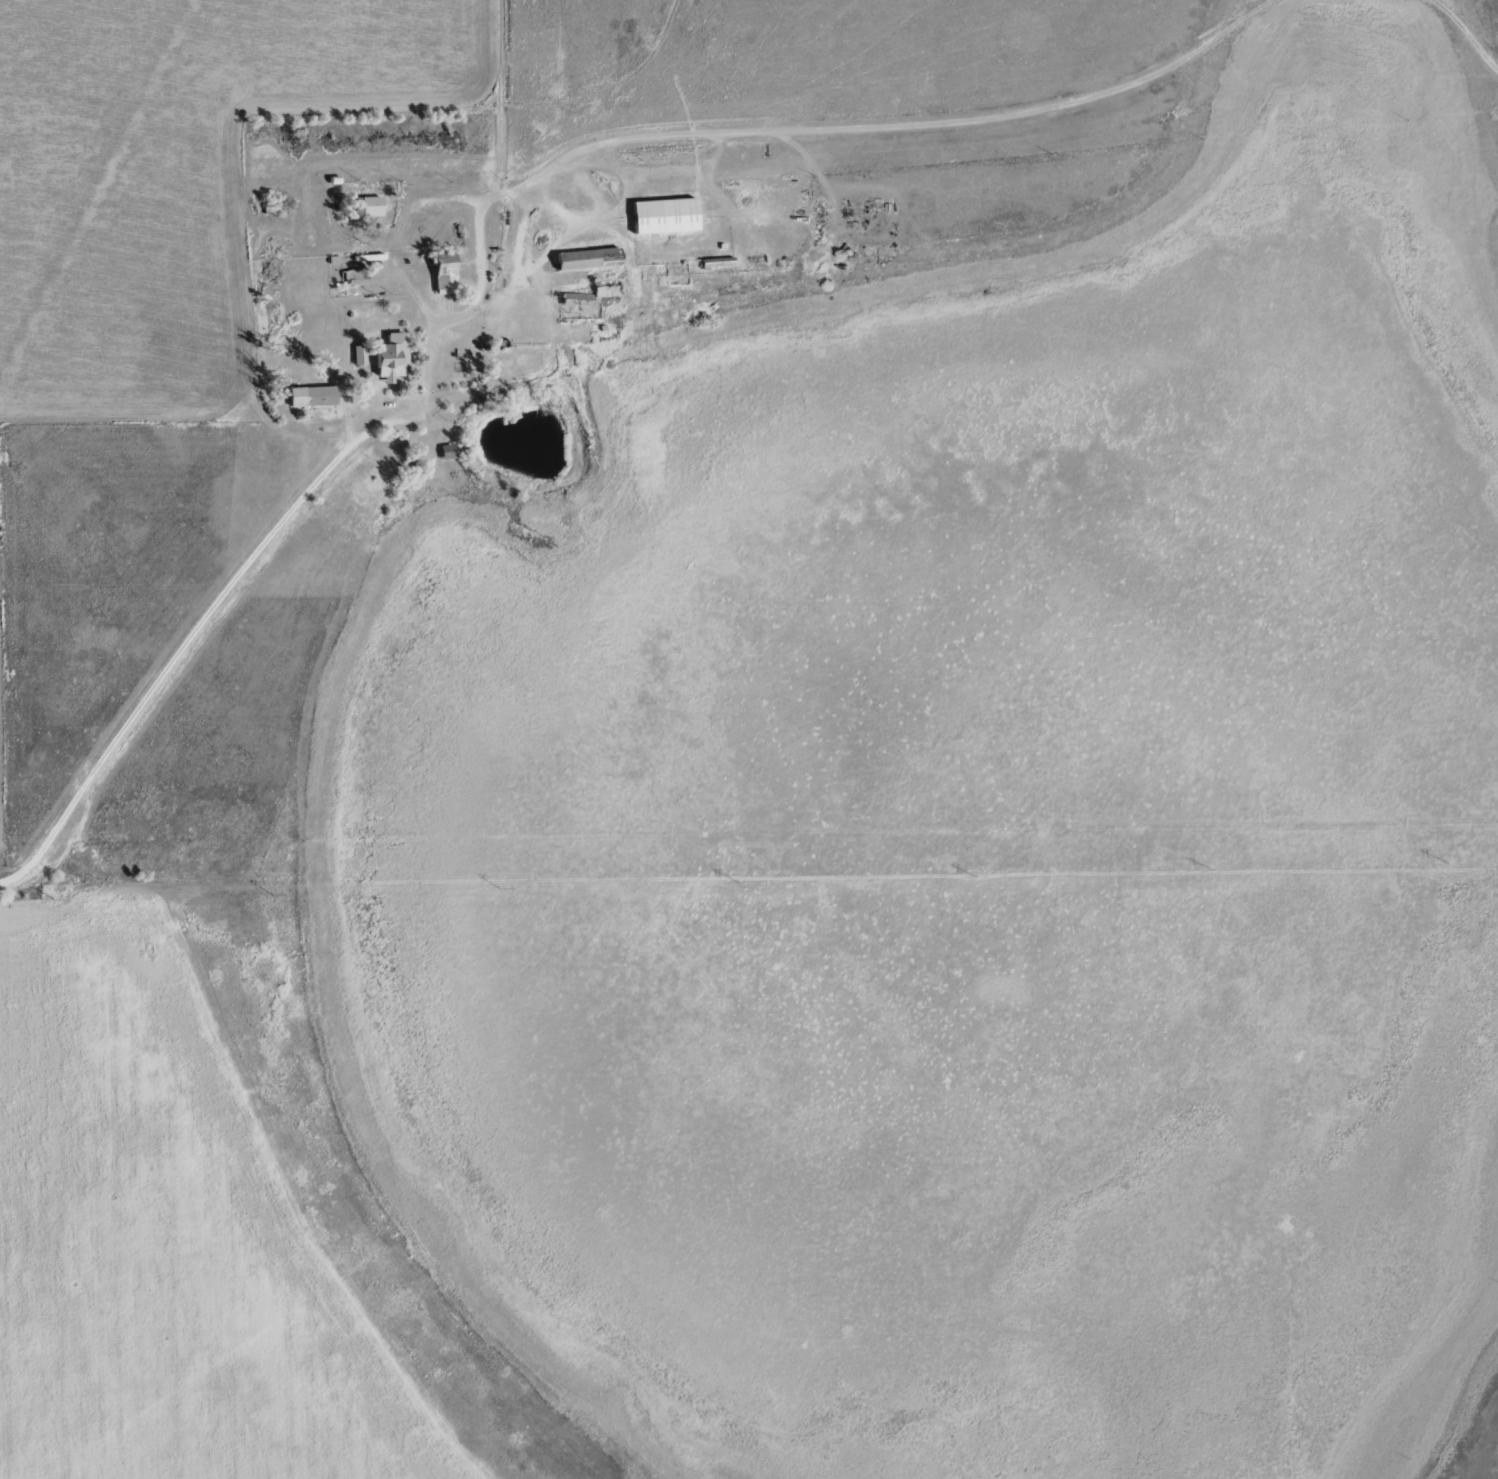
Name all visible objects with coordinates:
road: (1441, 16)
road: (848, 99)
building: (668, 213)
building: (447, 271)
building: (361, 353)
building: (395, 355)
building: (314, 395)
building: (449, 450)
road: (319, 451)
road: (14, 873)

